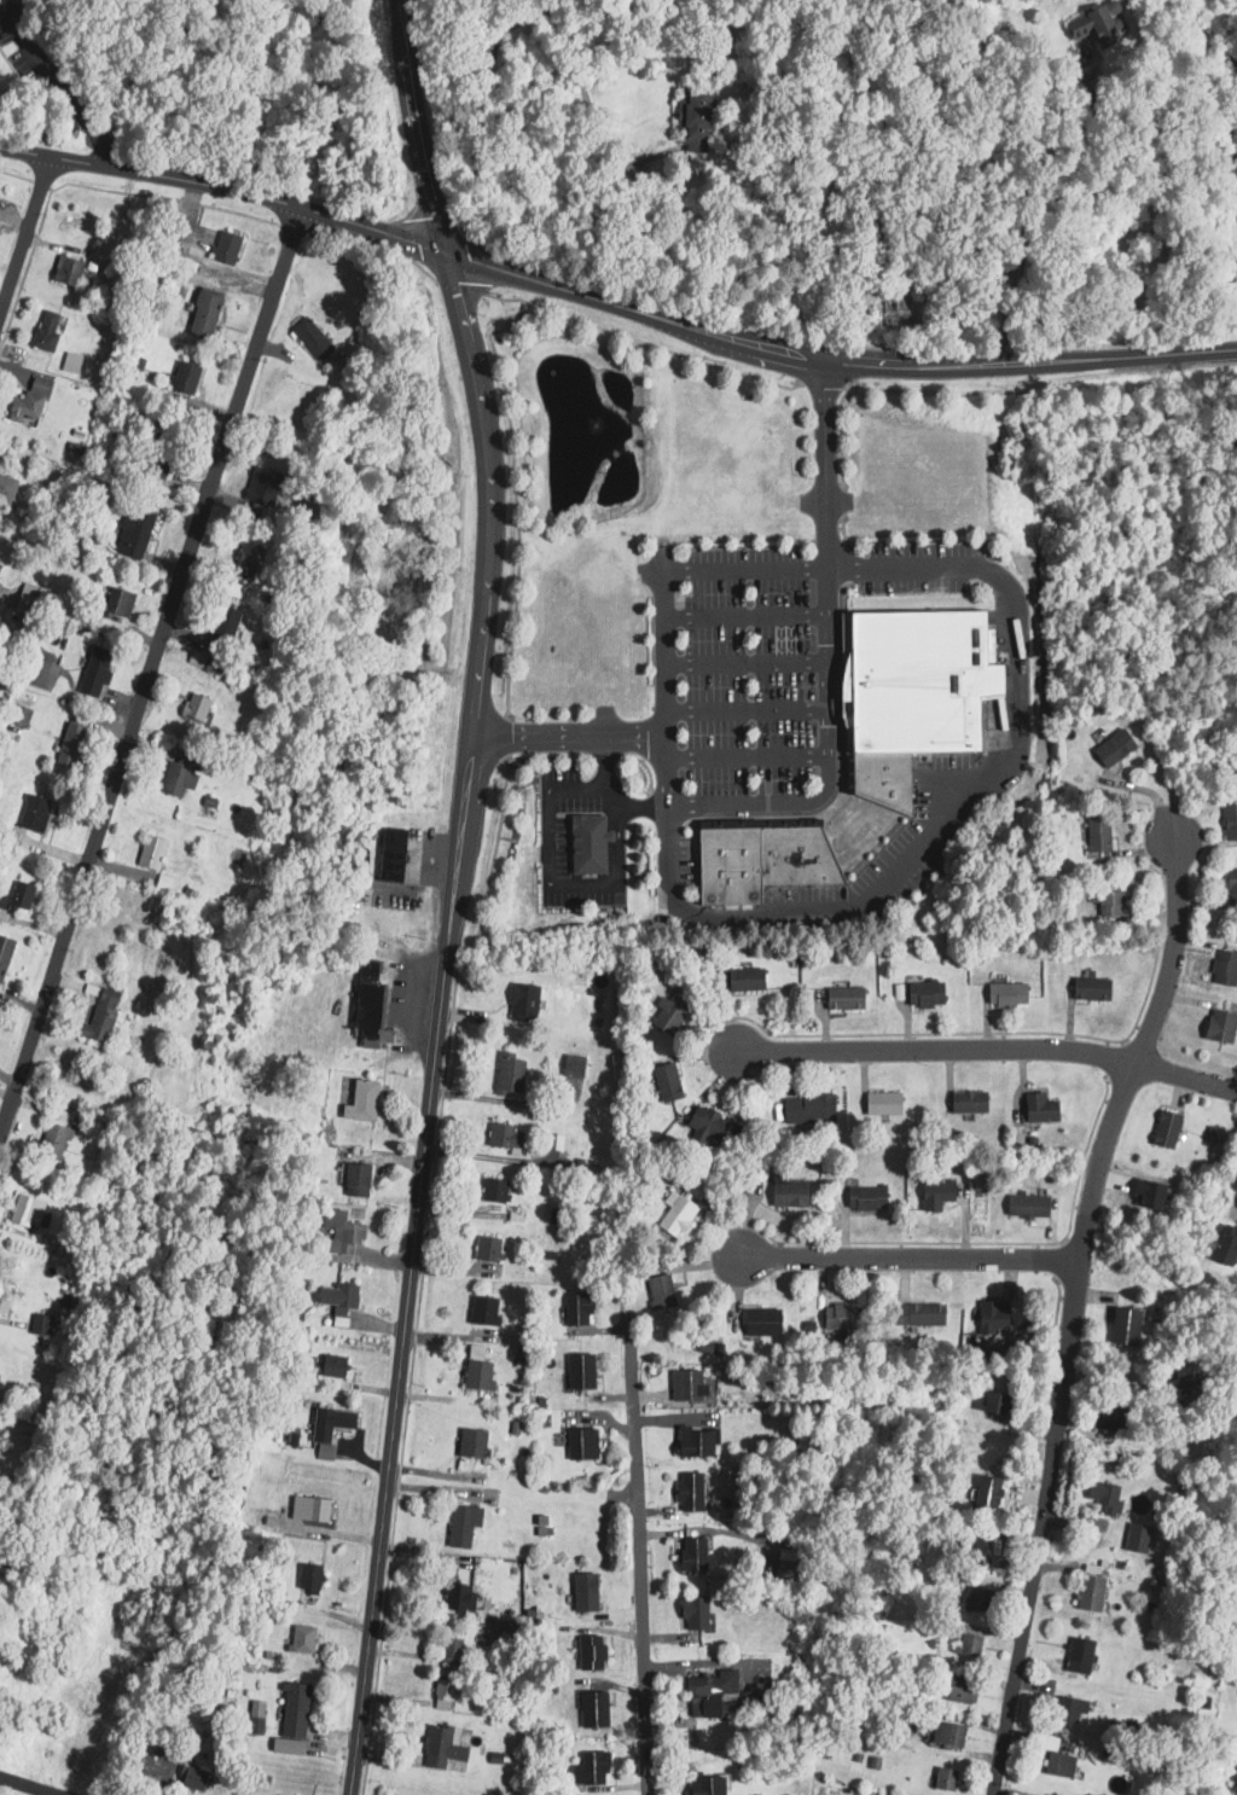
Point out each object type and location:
road: (511, 21)
building: (1093, 23)
road: (54, 85)
building: (702, 120)
road: (417, 128)
road: (81, 185)
road: (226, 187)
road: (1043, 211)
road: (291, 227)
road: (23, 231)
road: (372, 244)
building: (231, 248)
building: (72, 272)
road: (458, 284)
building: (902, 312)
building: (209, 314)
building: (52, 330)
road: (719, 332)
building: (315, 338)
road: (640, 341)
road: (1119, 355)
building: (70, 362)
building: (190, 377)
road: (1040, 382)
road: (823, 383)
building: (34, 400)
building: (162, 454)
road: (841, 475)
building: (8, 490)
building: (257, 493)
road: (513, 496)
building: (138, 533)
building: (250, 560)
road: (901, 568)
parking lot: (919, 568)
road: (743, 571)
building: (120, 604)
road: (743, 616)
building: (228, 628)
road: (825, 655)
road: (743, 662)
building: (216, 666)
building: (43, 669)
building: (99, 672)
parking lot: (749, 672)
road: (149, 673)
road: (1018, 673)
road: (661, 678)
building: (908, 696)
building: (201, 707)
road: (743, 711)
road: (504, 733)
road: (567, 734)
building: (75, 745)
building: (1111, 748)
road: (505, 756)
road: (744, 756)
road: (603, 762)
building: (185, 774)
road: (608, 792)
building: (40, 813)
building: (1229, 821)
building: (1096, 835)
building: (583, 842)
road: (614, 844)
building: (156, 853)
building: (393, 853)
parking lot: (892, 856)
building: (766, 859)
road: (548, 871)
building: (1230, 885)
building: (25, 895)
building: (1105, 898)
road: (802, 913)
road: (1173, 949)
building: (6, 955)
building: (1223, 969)
building: (743, 980)
building: (1088, 989)
building: (922, 994)
building: (1004, 995)
building: (842, 999)
building: (523, 1001)
building: (373, 1004)
building: (666, 1016)
building: (106, 1017)
road: (439, 1023)
building: (1216, 1027)
road: (1026, 1032)
road: (988, 1048)
road: (1114, 1058)
building: (577, 1067)
building: (513, 1074)
building: (666, 1082)
road: (504, 1100)
building: (366, 1102)
building: (881, 1103)
building: (965, 1103)
building: (1036, 1108)
building: (806, 1109)
building: (703, 1123)
building: (1163, 1129)
building: (1209, 1133)
building: (509, 1137)
building: (552, 1140)
building: (58, 1142)
building: (361, 1180)
building: (499, 1190)
building: (784, 1191)
building: (931, 1195)
building: (864, 1198)
road: (1236, 1201)
building: (1024, 1206)
building: (27, 1212)
building: (673, 1216)
road: (426, 1224)
building: (349, 1236)
road: (958, 1241)
building: (1223, 1245)
building: (493, 1249)
road: (910, 1256)
road: (1053, 1260)
building: (657, 1291)
building: (7, 1297)
building: (341, 1297)
building: (575, 1309)
building: (489, 1312)
building: (916, 1314)
building: (993, 1315)
road: (1055, 1317)
building: (838, 1318)
building: (760, 1323)
building: (45, 1325)
building: (1123, 1326)
building: (0, 1360)
building: (336, 1366)
building: (482, 1370)
building: (586, 1370)
building: (1183, 1373)
building: (691, 1384)
building: (999, 1402)
building: (1111, 1416)
building: (335, 1423)
road: (1055, 1425)
building: (699, 1441)
building: (476, 1442)
building: (586, 1442)
building: (696, 1492)
building: (991, 1493)
building: (1102, 1494)
building: (314, 1508)
building: (461, 1522)
building: (1134, 1537)
building: (978, 1550)
building: (698, 1552)
road: (637, 1559)
building: (1236, 1574)
building: (313, 1576)
building: (591, 1591)
building: (1087, 1592)
building: (463, 1594)
building: (982, 1598)
building: (699, 1613)
building: (304, 1639)
building: (974, 1644)
building: (454, 1649)
building: (596, 1652)
building: (1078, 1655)
building: (1040, 1686)
building: (964, 1690)
building: (448, 1691)
building: (730, 1697)
building: (1069, 1708)
building: (598, 1709)
building: (297, 1716)
building: (1236, 1716)
building: (952, 1733)
building: (447, 1747)
building: (1057, 1764)
building: (599, 1768)
building: (196, 1777)
building: (949, 1778)
building: (1236, 1781)
building: (713, 1783)
road: (29, 1785)

